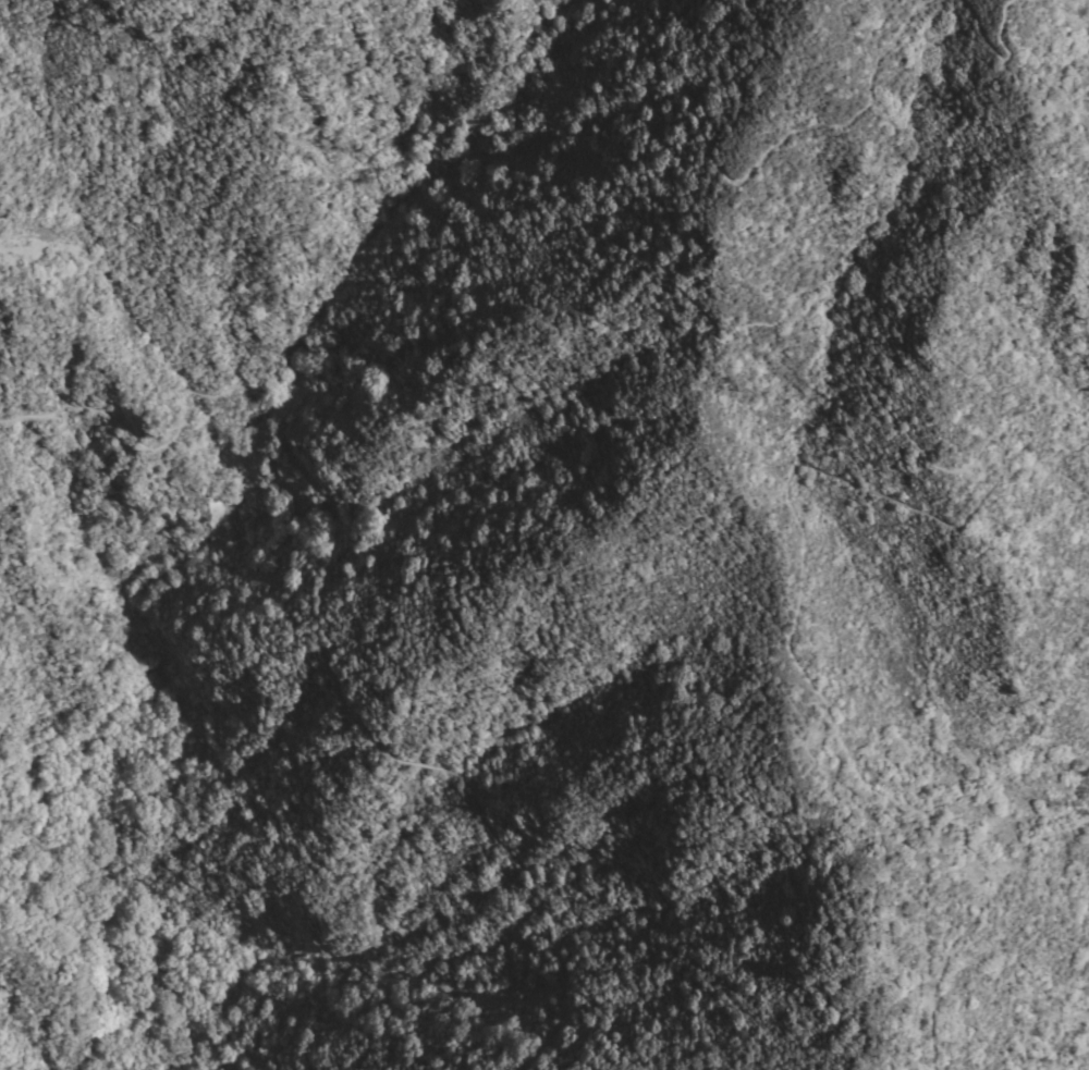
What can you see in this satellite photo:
road: (998, 45)
road: (919, 442)
road: (316, 619)

